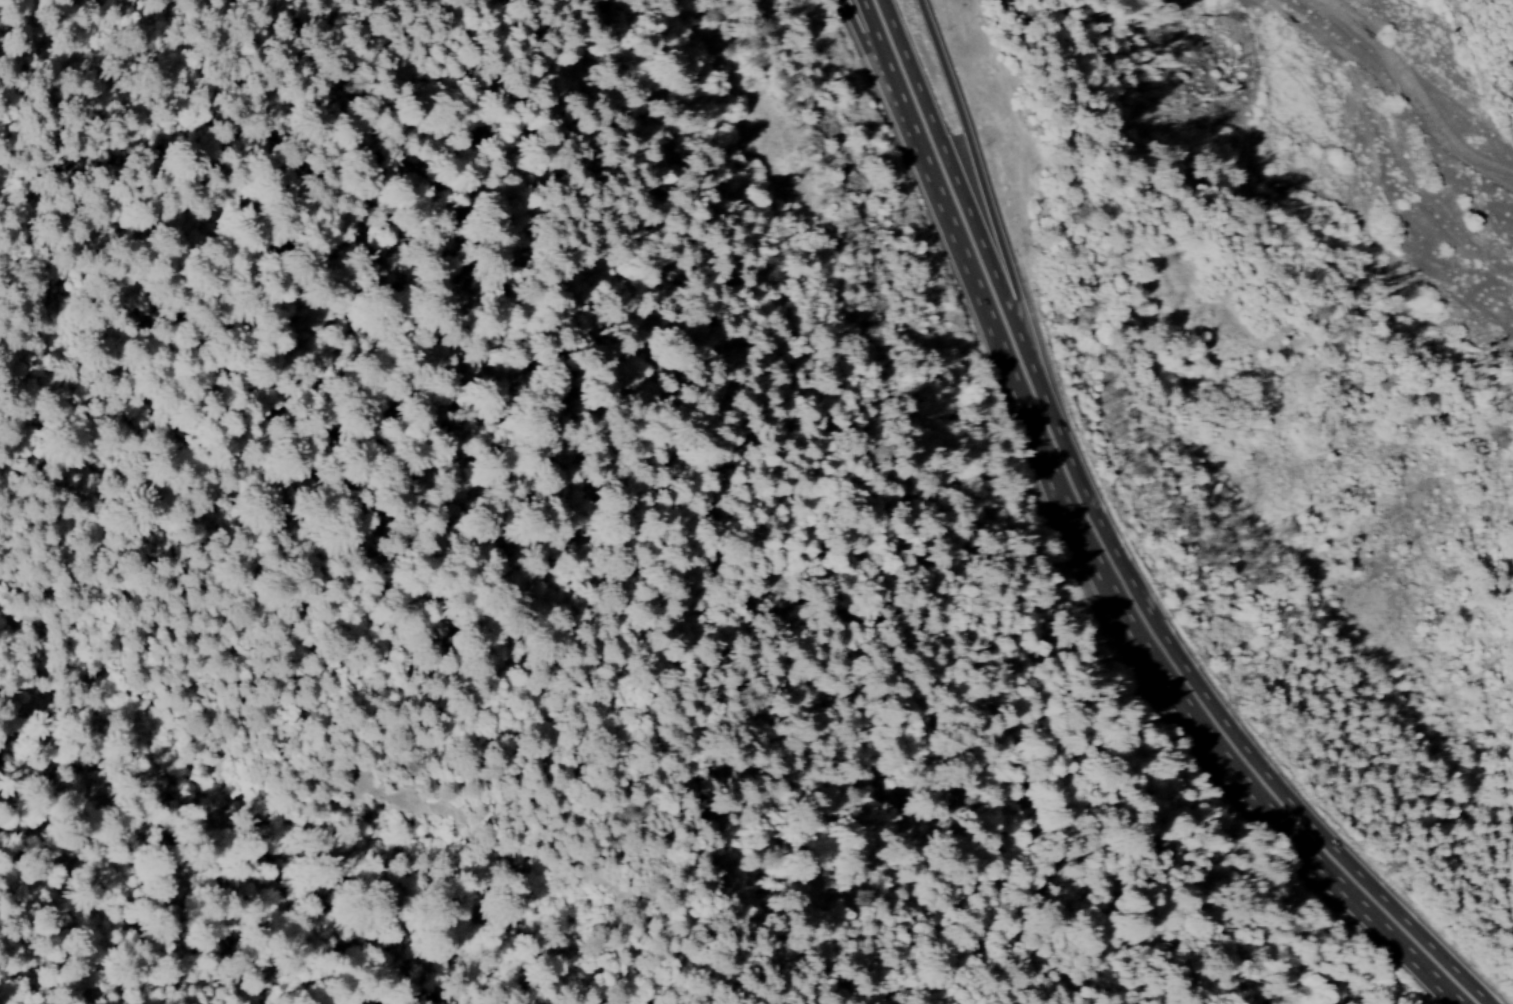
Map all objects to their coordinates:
road: (906, 71)
road: (884, 73)
road: (971, 161)
road: (970, 235)
road: (1192, 699)

